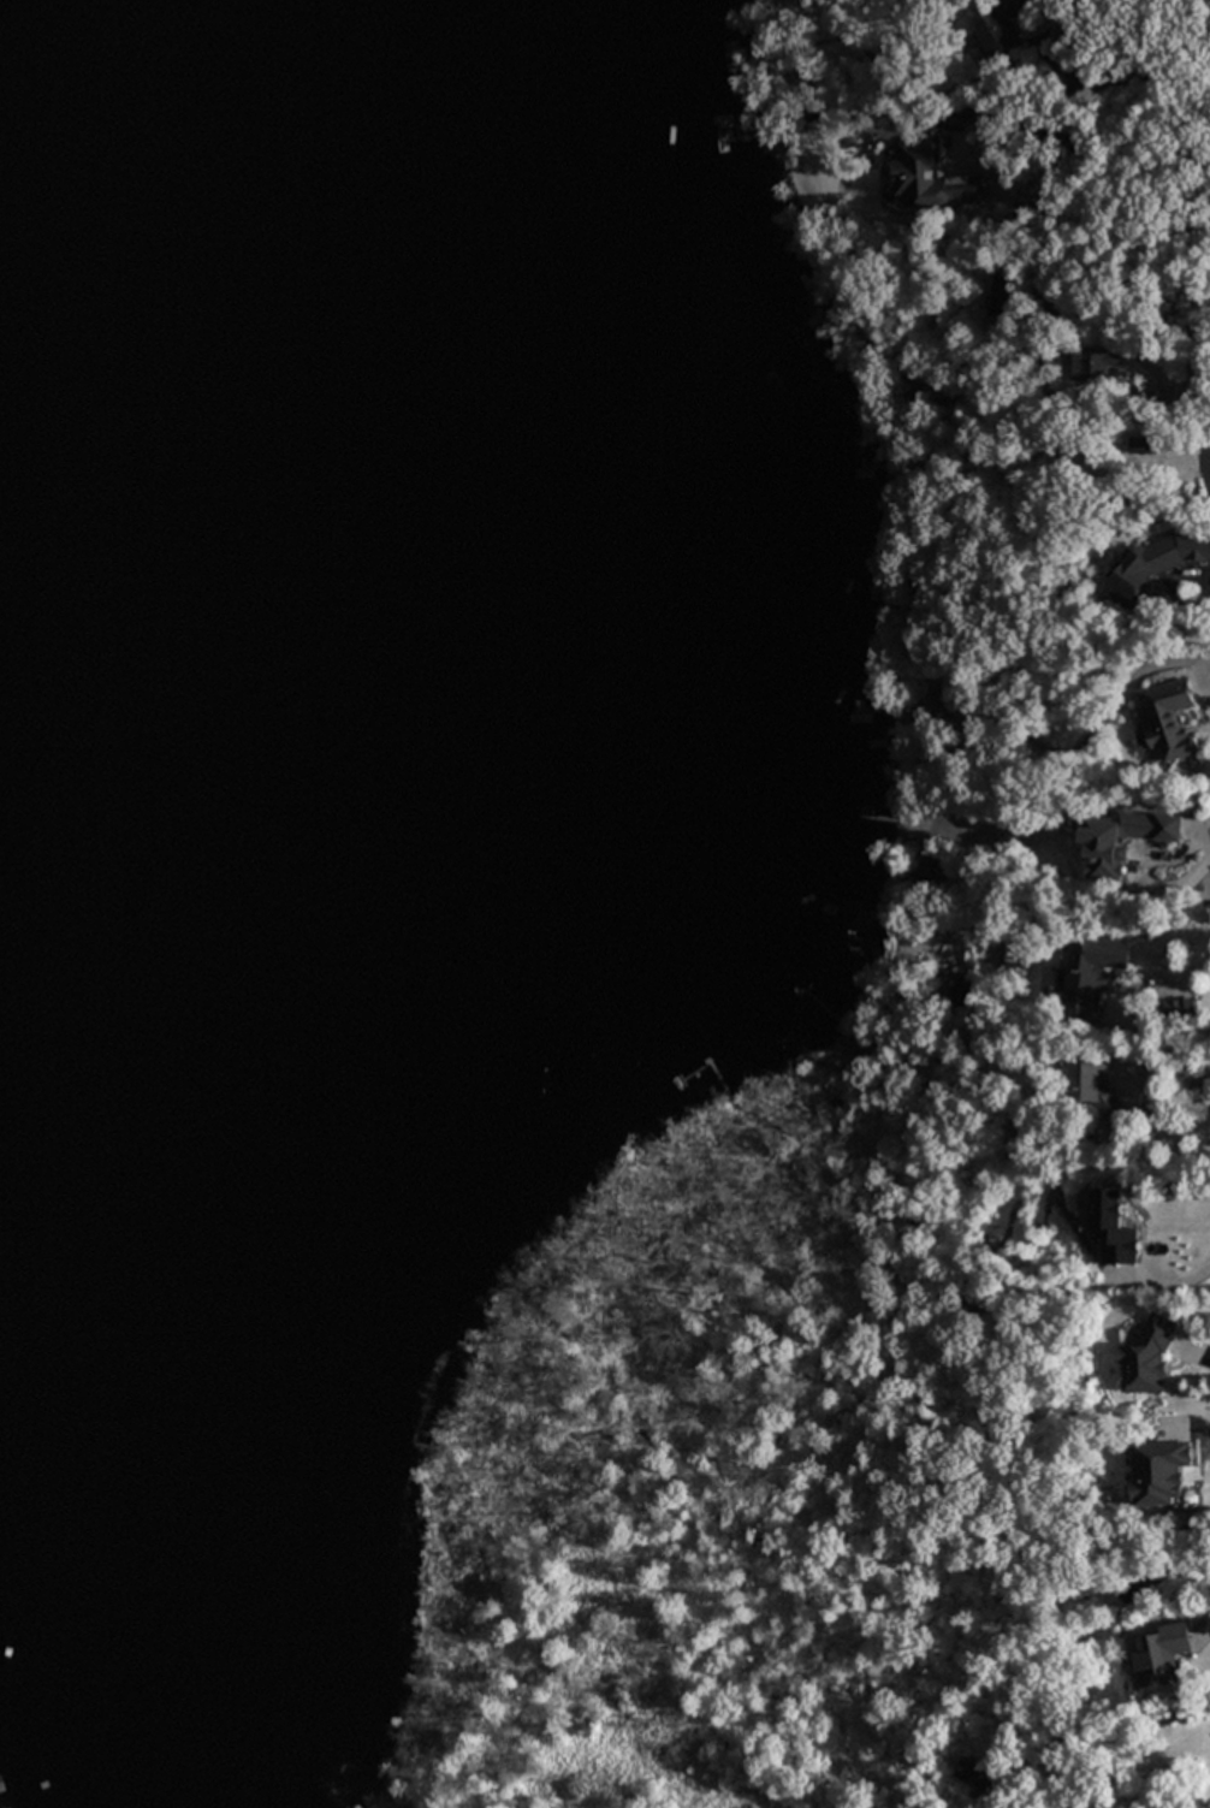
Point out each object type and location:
building: (998, 24)
road: (1122, 87)
road: (1156, 147)
building: (955, 178)
building: (1006, 292)
building: (1043, 302)
building: (1093, 363)
road: (1165, 387)
building: (1141, 444)
building: (1155, 564)
road: (1199, 575)
road: (1205, 670)
building: (1170, 718)
building: (1123, 840)
building: (927, 867)
road: (1141, 878)
road: (1151, 964)
building: (1087, 973)
building: (1180, 1007)
building: (1097, 1087)
building: (1200, 1087)
building: (1115, 1227)
road: (1175, 1281)
road: (1193, 1347)
building: (1149, 1356)
road: (1186, 1428)
building: (1161, 1471)
building: (1161, 1653)

